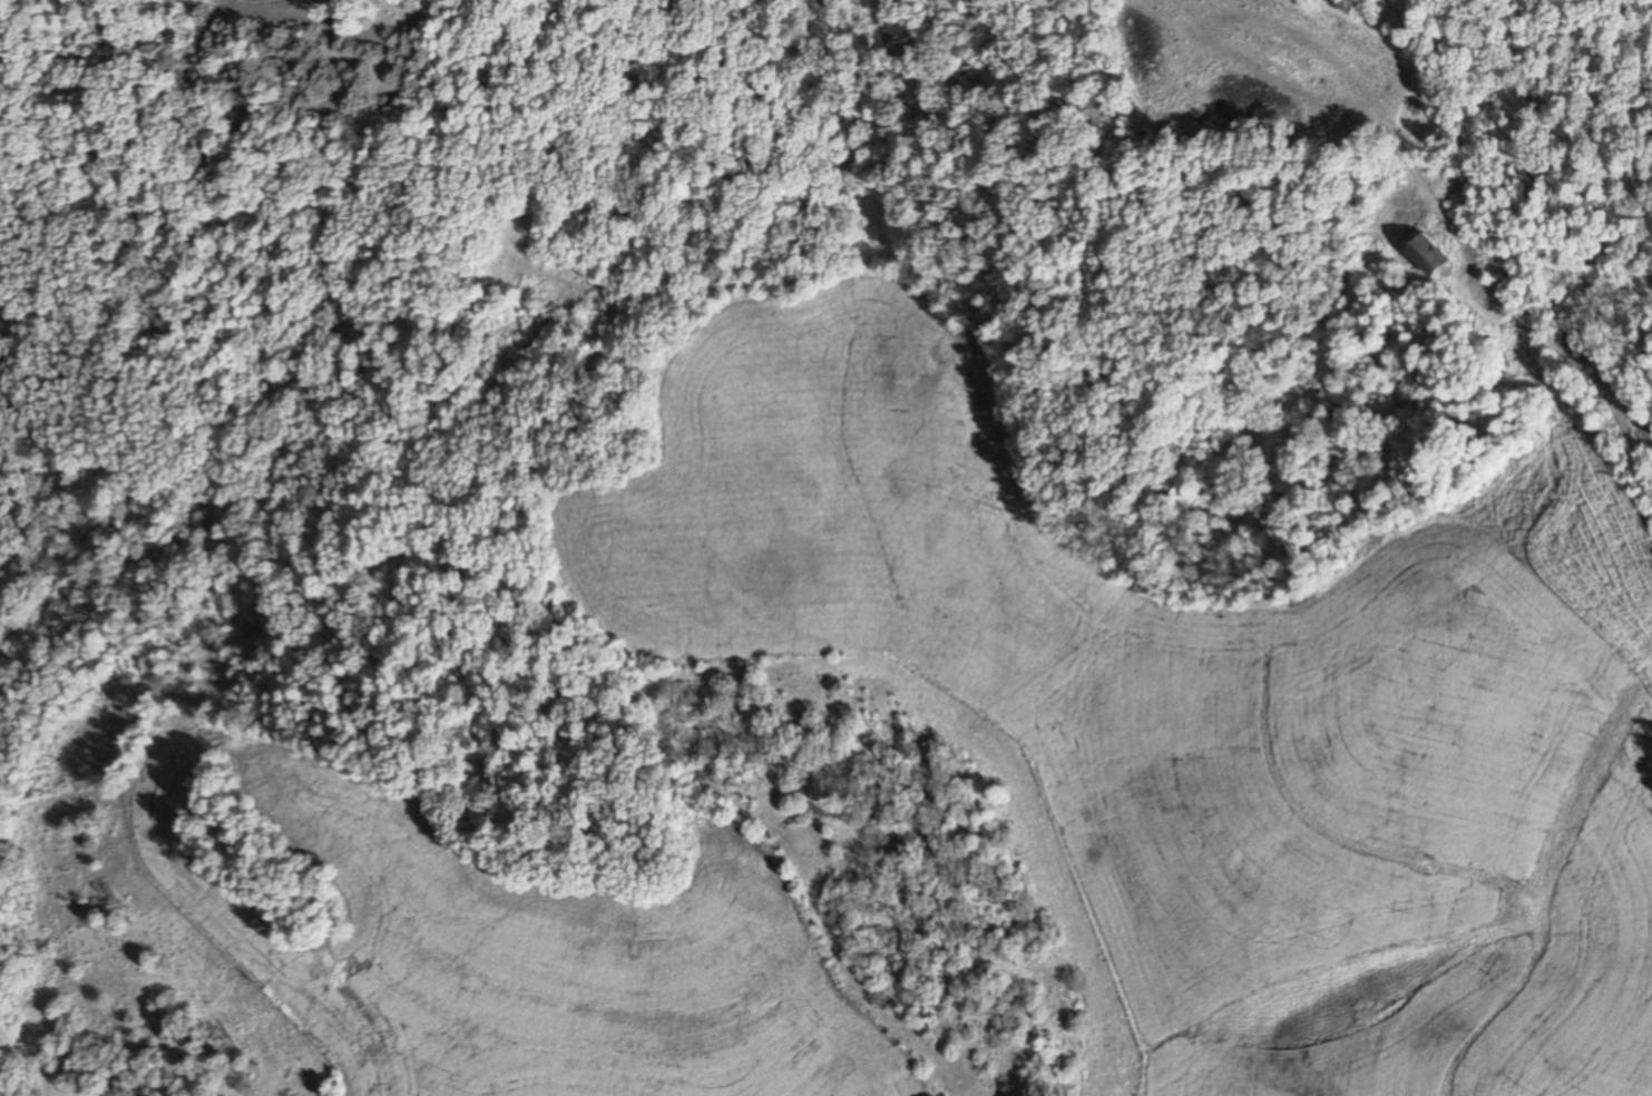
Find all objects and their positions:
road: (1639, 430)

